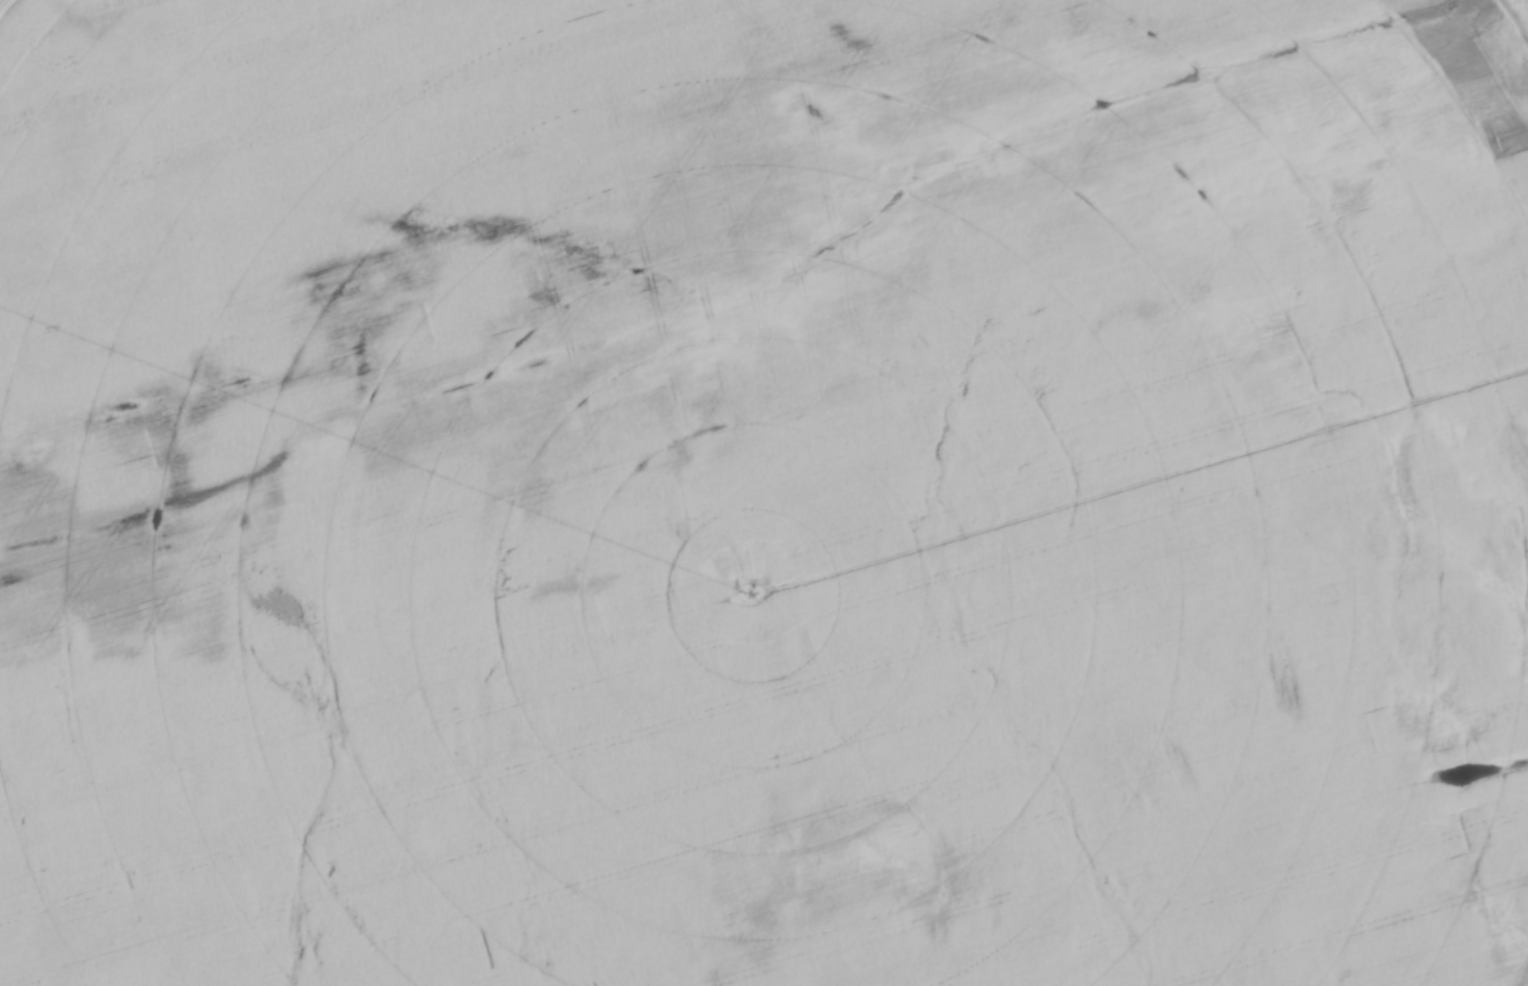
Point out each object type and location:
crop: (763, 493)

